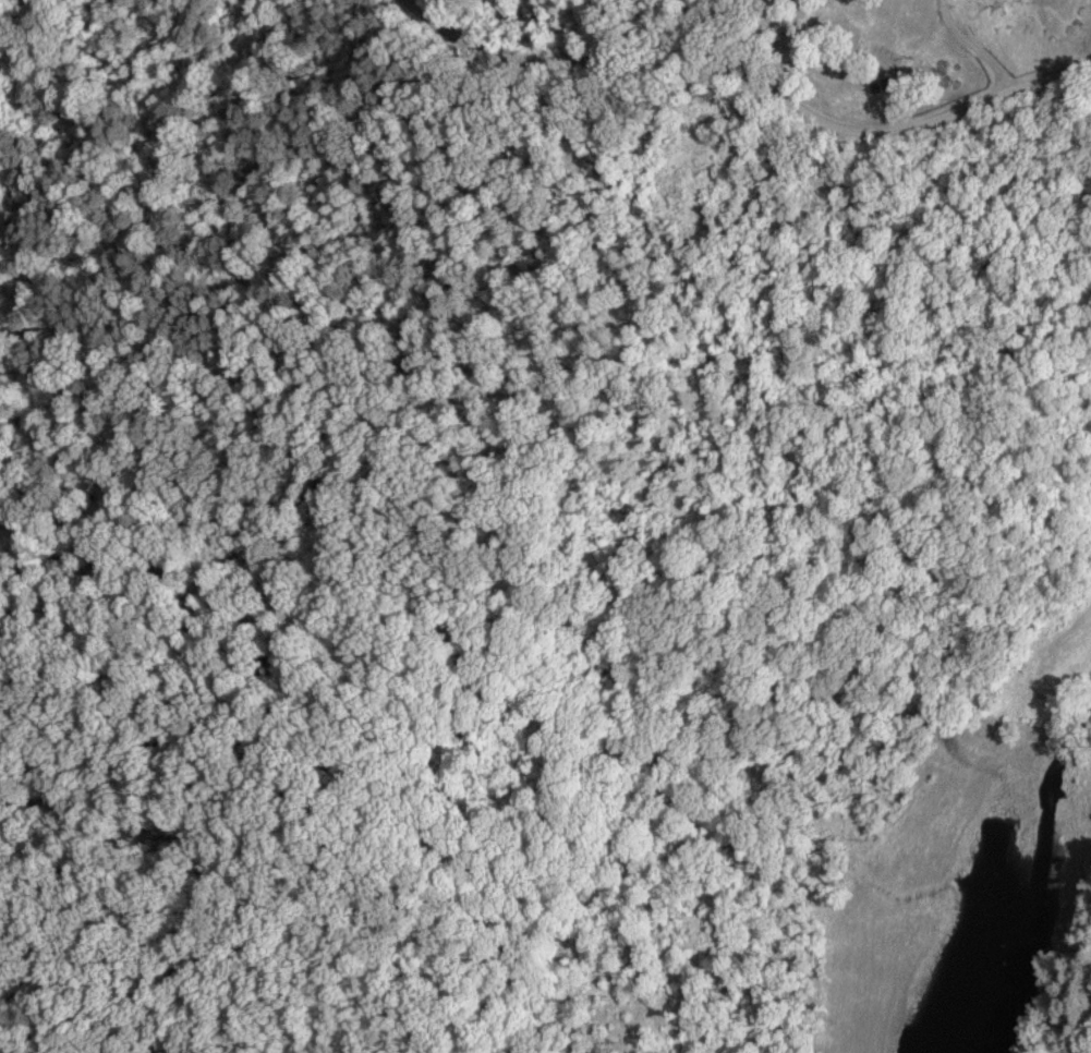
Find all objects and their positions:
road: (972, 45)
road: (750, 73)

